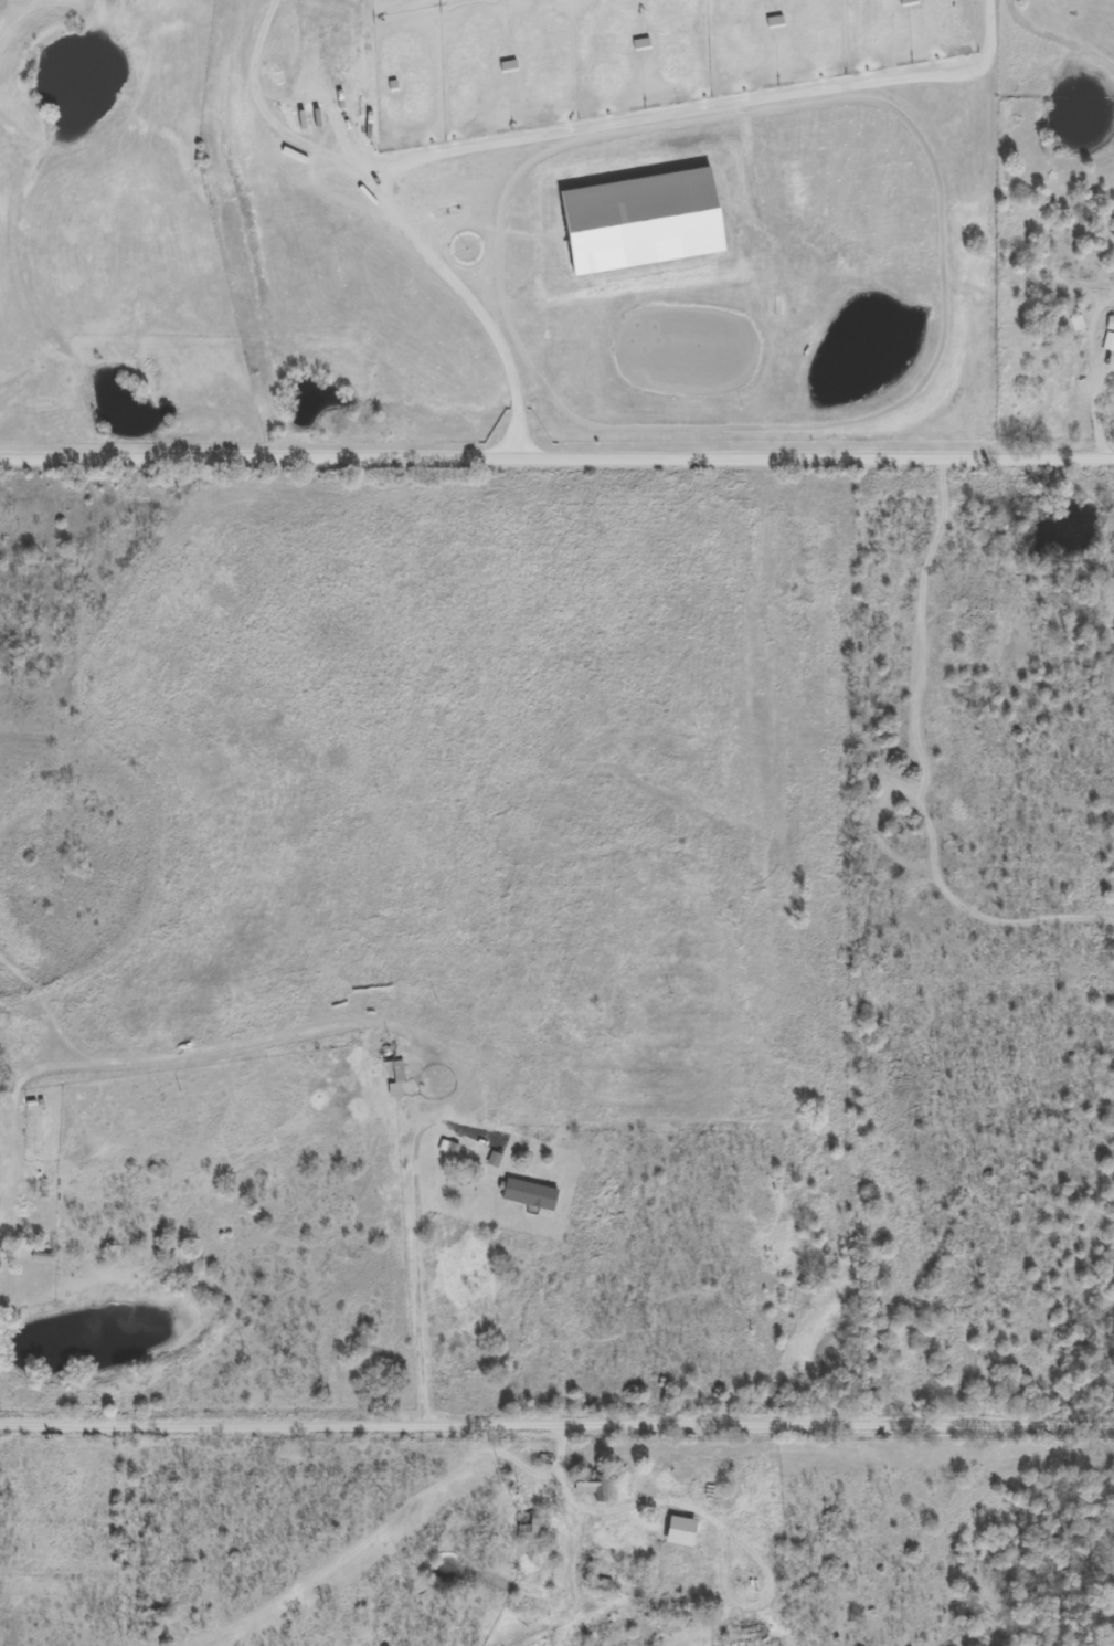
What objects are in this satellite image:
building: (1075, 324)
building: (1107, 341)
road: (556, 458)
road: (141, 1058)
building: (379, 1061)
building: (528, 1193)
road: (428, 1294)
road: (556, 1424)
building: (591, 1486)
building: (530, 1524)
road: (749, 1537)
building: (602, 1584)

